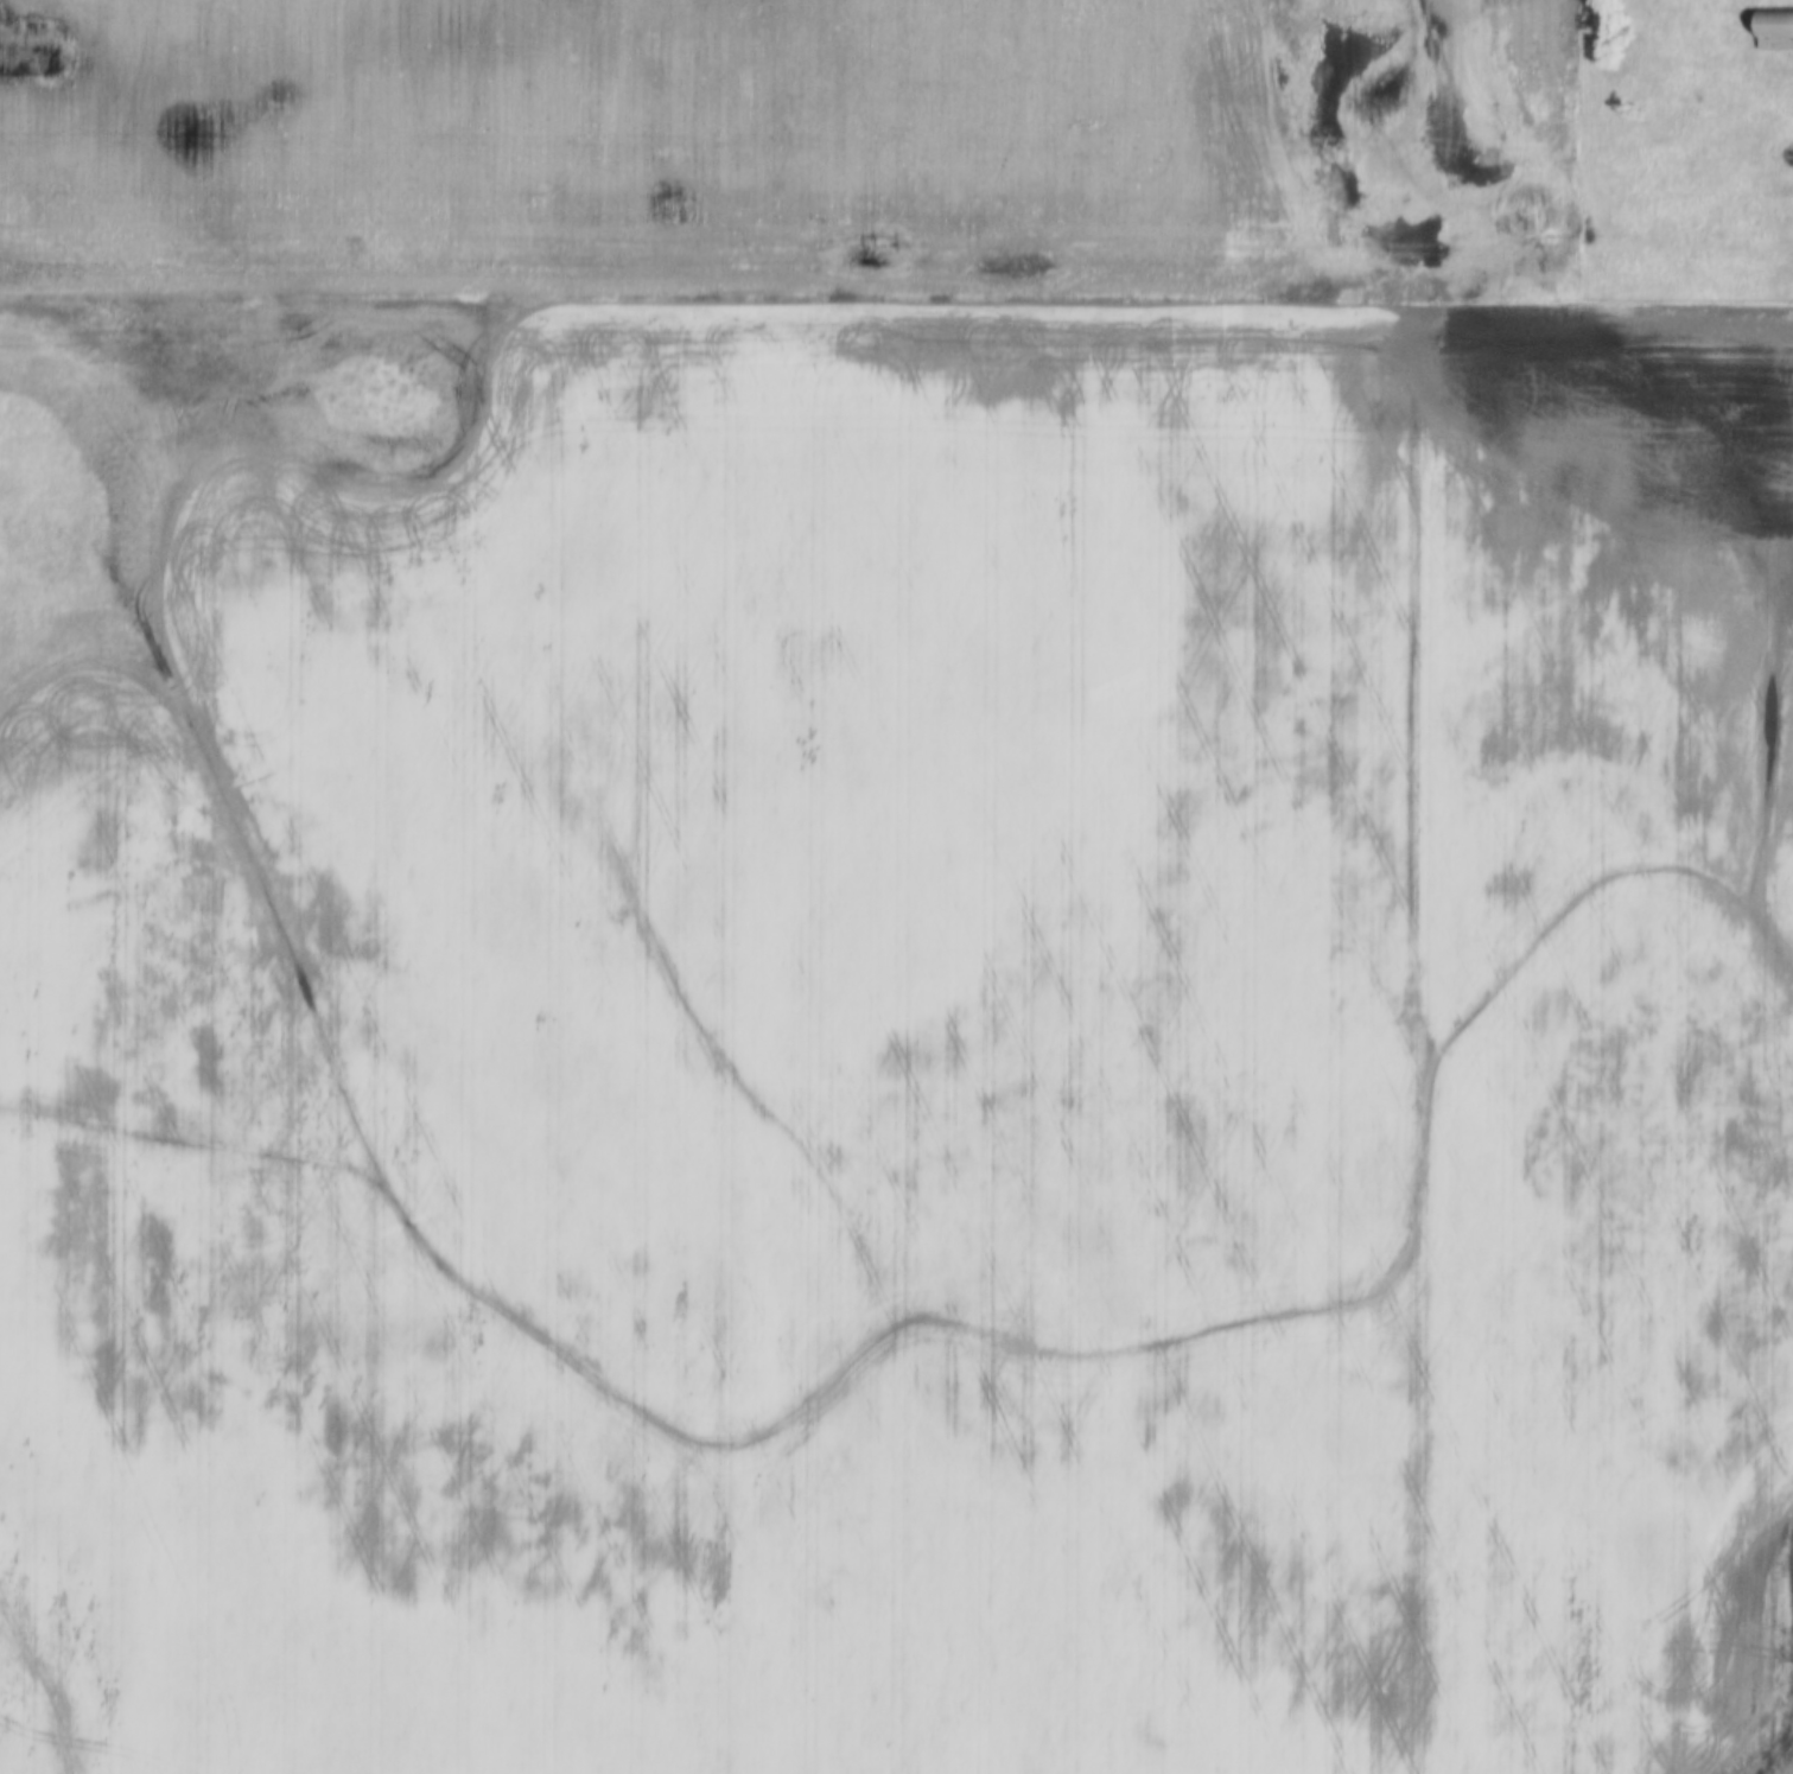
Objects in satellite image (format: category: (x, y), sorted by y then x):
building: (1765, 25)

